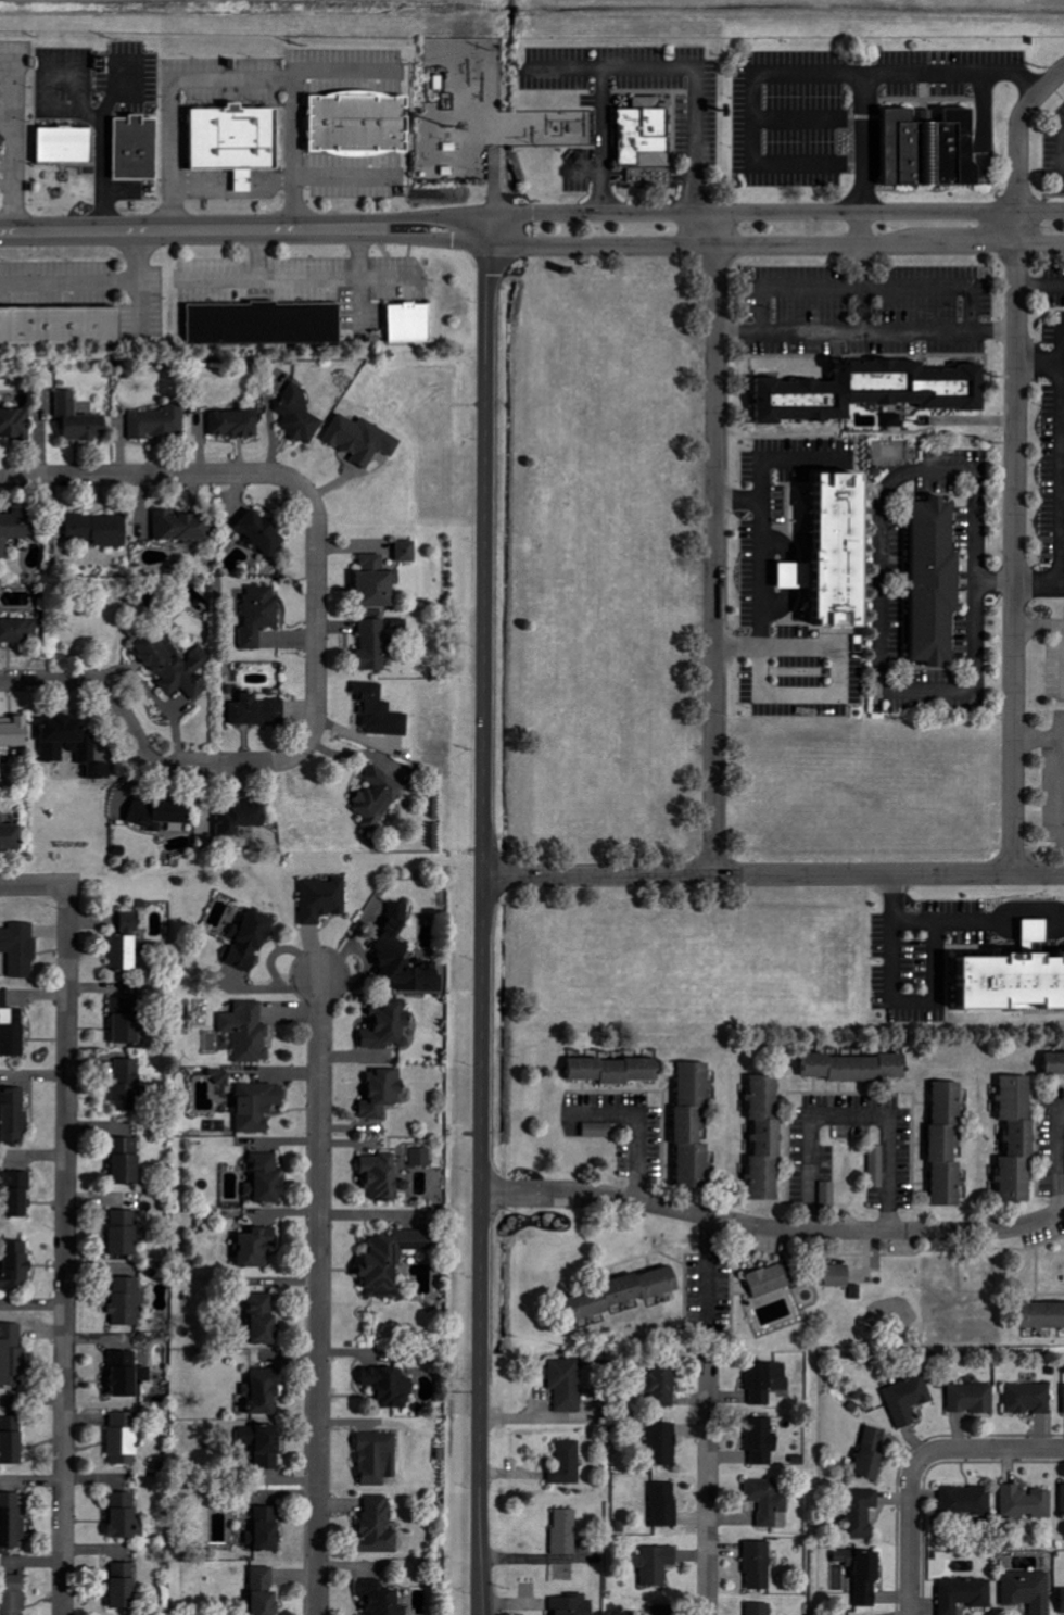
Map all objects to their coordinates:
road: (785, 67)
road: (952, 68)
road: (233, 76)
road: (691, 76)
building: (1, 83)
road: (7, 121)
building: (362, 123)
road: (1017, 131)
building: (639, 134)
building: (3, 138)
road: (599, 138)
building: (238, 140)
building: (67, 144)
building: (137, 148)
building: (934, 149)
road: (1062, 152)
road: (490, 156)
road: (98, 171)
road: (11, 206)
road: (753, 211)
road: (1040, 212)
road: (423, 215)
road: (355, 223)
road: (860, 226)
road: (1016, 226)
road: (177, 229)
road: (419, 237)
road: (1040, 241)
road: (752, 243)
road: (1040, 281)
road: (86, 283)
road: (859, 285)
building: (413, 321)
building: (266, 324)
building: (61, 326)
road: (865, 328)
building: (866, 391)
building: (300, 414)
building: (895, 419)
building: (80, 420)
building: (14, 421)
building: (159, 422)
building: (237, 424)
building: (364, 439)
road: (1060, 468)
road: (157, 476)
building: (183, 527)
building: (16, 529)
building: (100, 529)
building: (264, 532)
road: (713, 543)
road: (485, 544)
building: (408, 552)
building: (841, 554)
road: (1015, 557)
road: (873, 559)
building: (938, 581)
building: (377, 582)
building: (261, 615)
road: (317, 618)
building: (15, 630)
building: (373, 645)
building: (176, 667)
road: (760, 695)
building: (258, 710)
building: (381, 711)
building: (14, 732)
building: (73, 749)
road: (140, 750)
road: (1061, 757)
building: (378, 798)
building: (161, 812)
building: (243, 818)
building: (11, 836)
road: (1039, 874)
road: (748, 875)
road: (34, 886)
building: (325, 899)
building: (131, 923)
road: (954, 928)
building: (251, 942)
building: (21, 949)
building: (125, 954)
building: (405, 956)
building: (1015, 984)
building: (127, 1021)
building: (12, 1029)
building: (389, 1029)
building: (249, 1032)
building: (1055, 1065)
building: (858, 1068)
building: (618, 1071)
building: (223, 1078)
building: (128, 1086)
building: (383, 1094)
building: (258, 1107)
road: (838, 1113)
building: (14, 1115)
road: (629, 1124)
building: (695, 1126)
building: (768, 1139)
building: (1019, 1139)
building: (949, 1145)
road: (1049, 1156)
building: (421, 1157)
building: (127, 1162)
building: (383, 1177)
building: (267, 1181)
building: (18, 1194)
road: (772, 1228)
building: (125, 1233)
road: (481, 1246)
building: (257, 1248)
road: (65, 1250)
building: (393, 1262)
building: (16, 1267)
building: (839, 1276)
building: (771, 1280)
building: (624, 1295)
road: (318, 1296)
building: (128, 1302)
building: (1044, 1316)
building: (264, 1319)
building: (13, 1357)
building: (129, 1376)
building: (767, 1379)
building: (568, 1384)
building: (664, 1384)
building: (391, 1386)
building: (265, 1391)
building: (973, 1397)
building: (1029, 1398)
building: (909, 1399)
building: (125, 1437)
building: (762, 1439)
building: (12, 1440)
building: (265, 1443)
building: (663, 1443)
road: (1003, 1449)
building: (873, 1453)
building: (378, 1456)
building: (568, 1463)
road: (709, 1481)
building: (1063, 1494)
building: (768, 1500)
building: (967, 1501)
building: (1027, 1502)
building: (666, 1503)
building: (862, 1512)
building: (125, 1515)
building: (12, 1519)
road: (910, 1524)
building: (379, 1525)
building: (267, 1529)
building: (566, 1530)
building: (846, 1556)
building: (657, 1563)
building: (759, 1564)
building: (869, 1577)
building: (125, 1585)
building: (1030, 1590)
building: (263, 1592)
building: (12, 1593)
building: (965, 1594)
building: (382, 1598)
building: (573, 1604)
building: (664, 1608)
building: (759, 1608)

